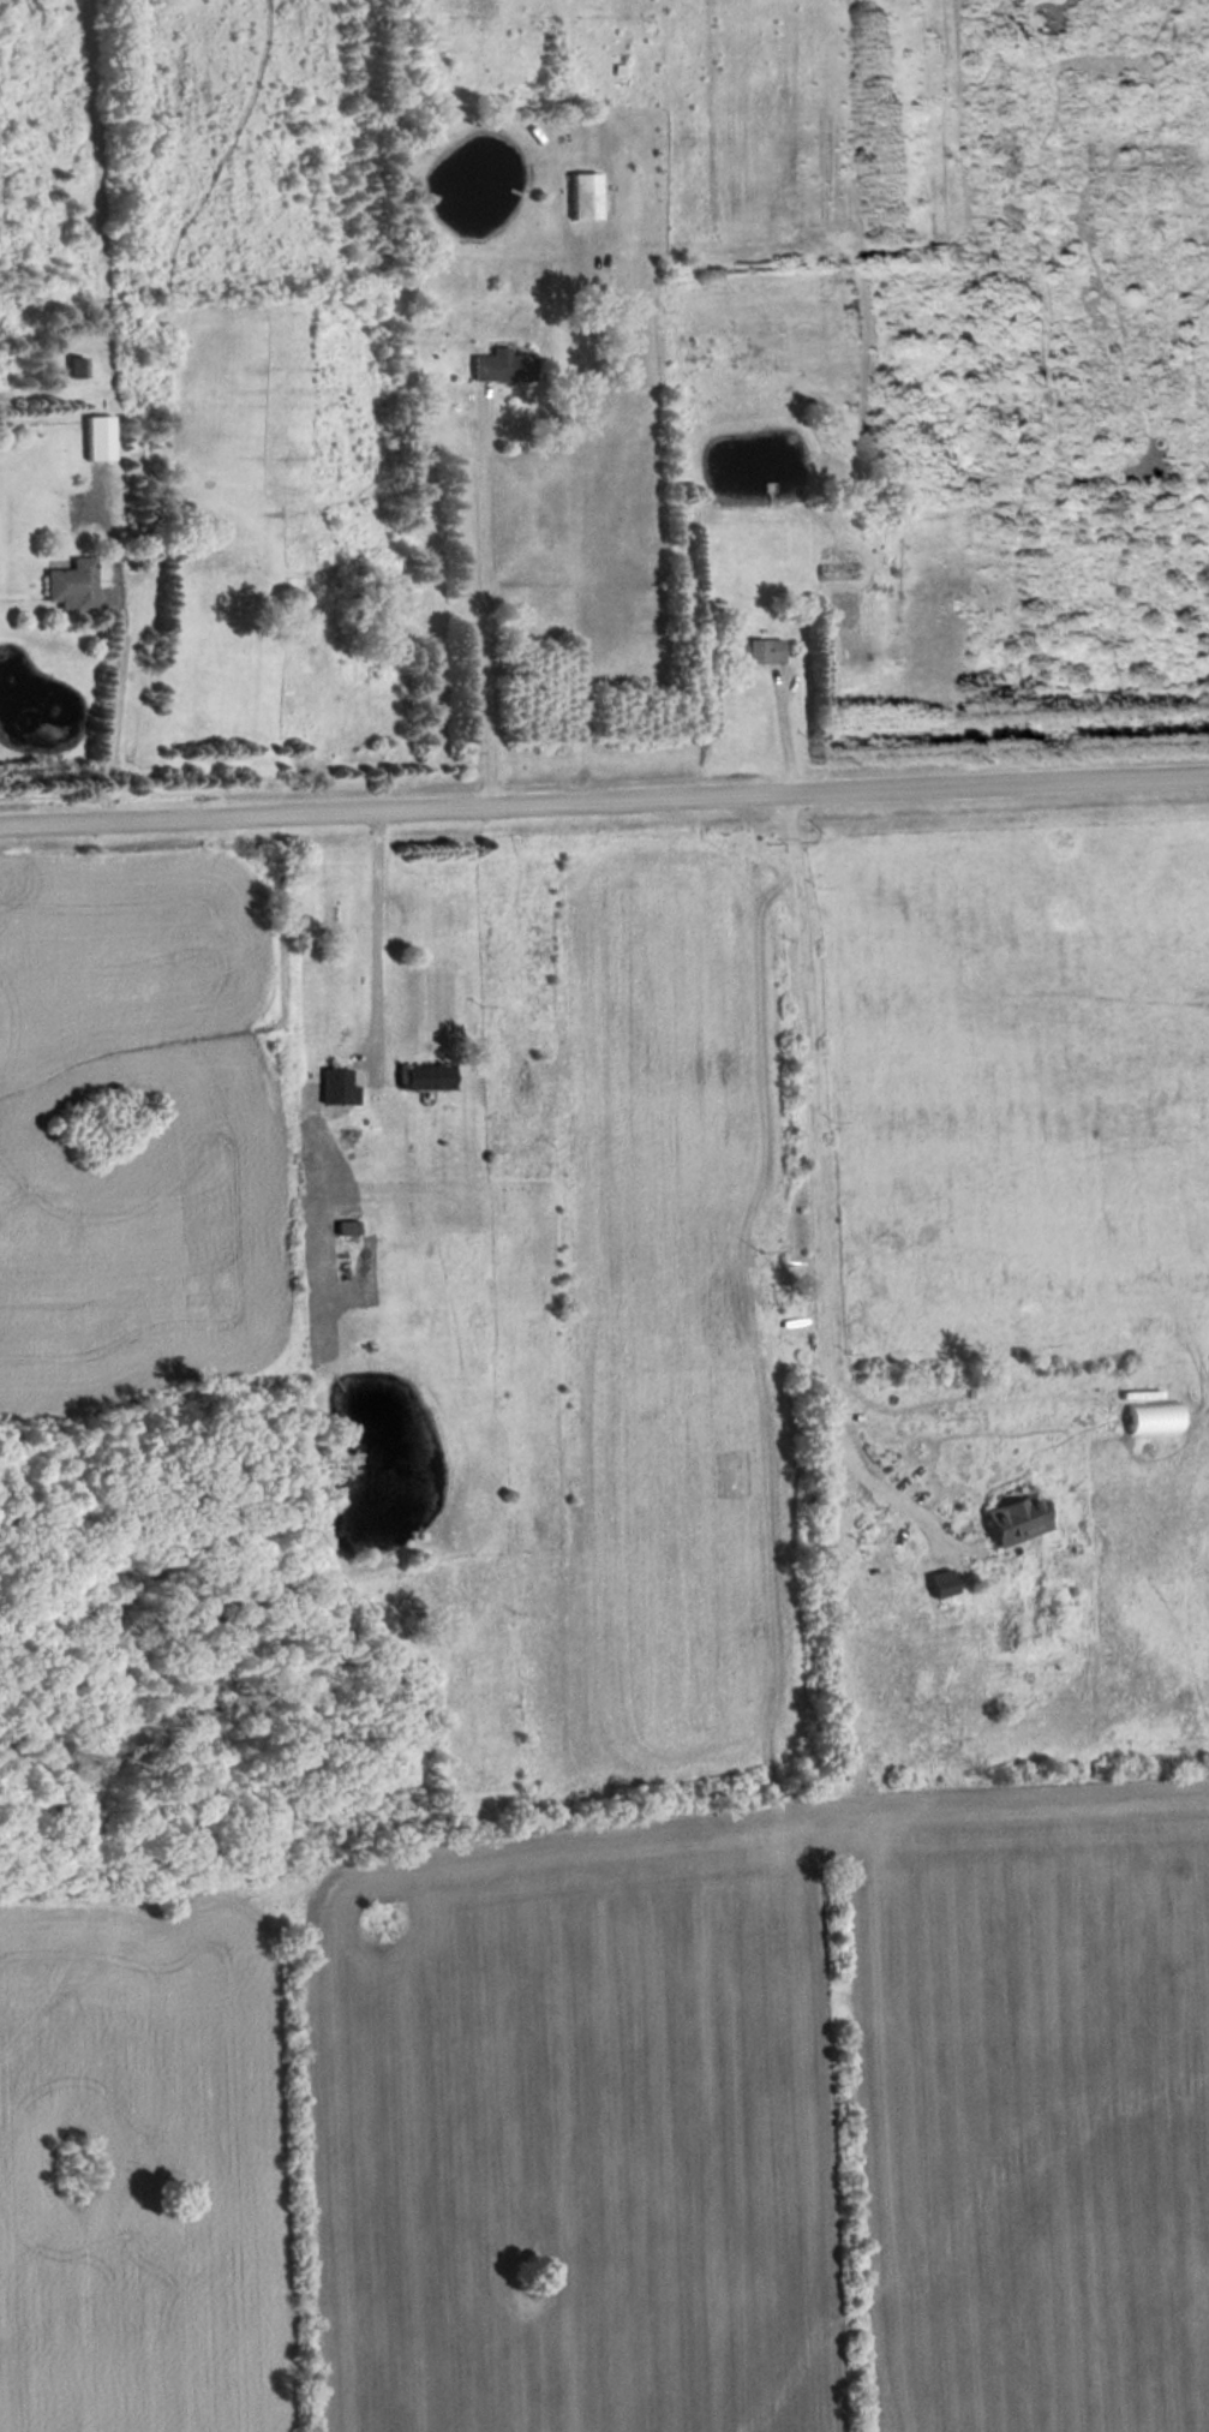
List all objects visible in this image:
building: (588, 193)
building: (507, 364)
building: (80, 366)
building: (102, 436)
building: (76, 584)
building: (755, 647)
road: (604, 800)
building: (430, 1076)
building: (341, 1084)
building: (351, 1226)
building: (1023, 1519)
building: (947, 1582)

